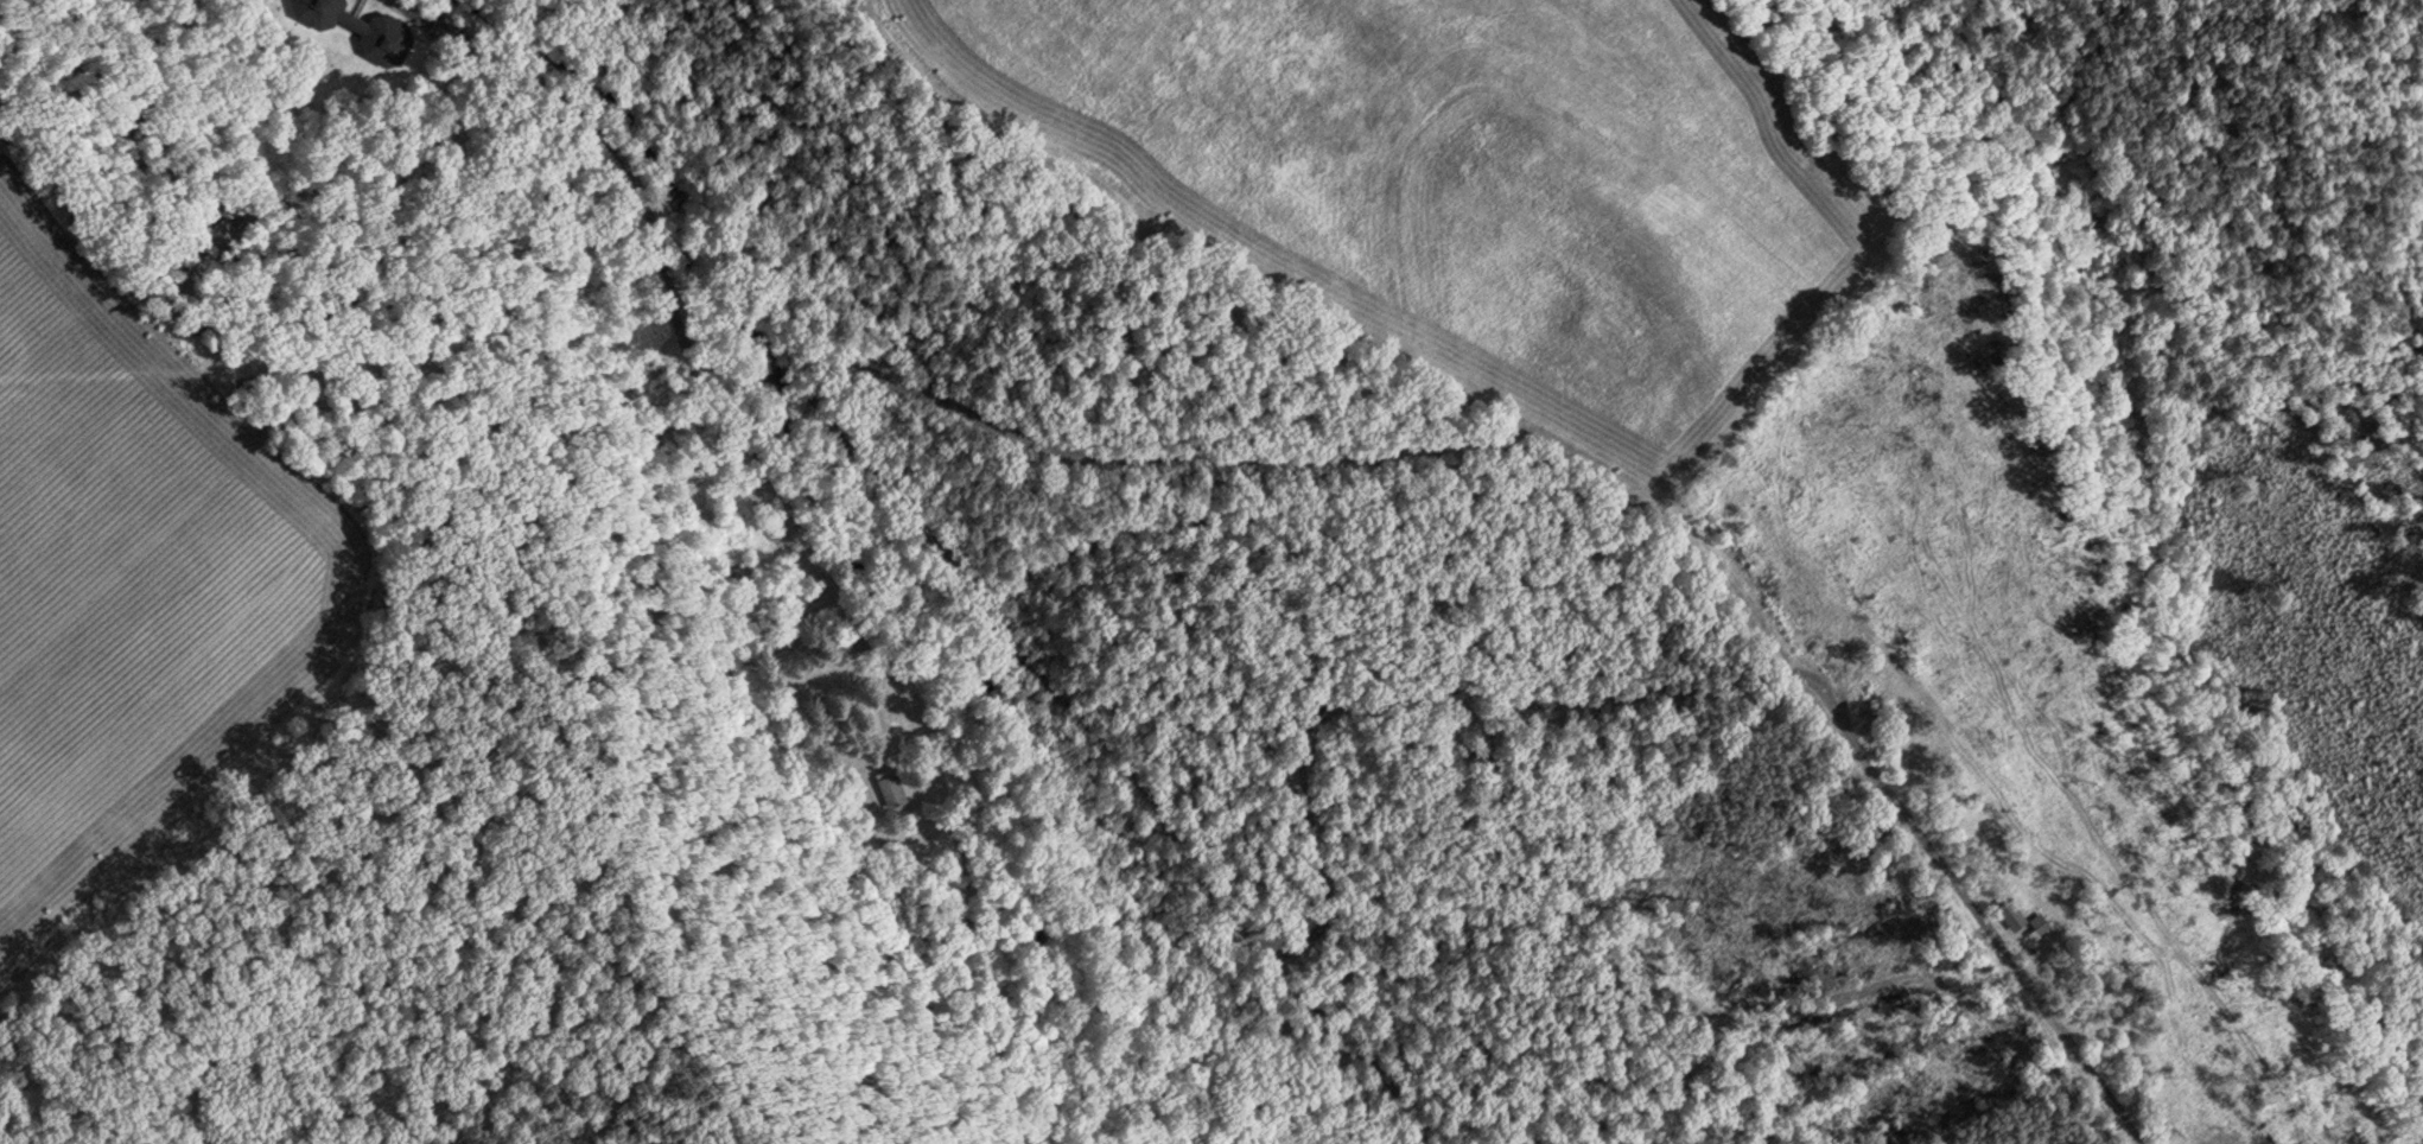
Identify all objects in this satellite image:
road: (422, 12)
building: (361, 27)
park: (392, 172)
building: (890, 788)
building: (2018, 915)

